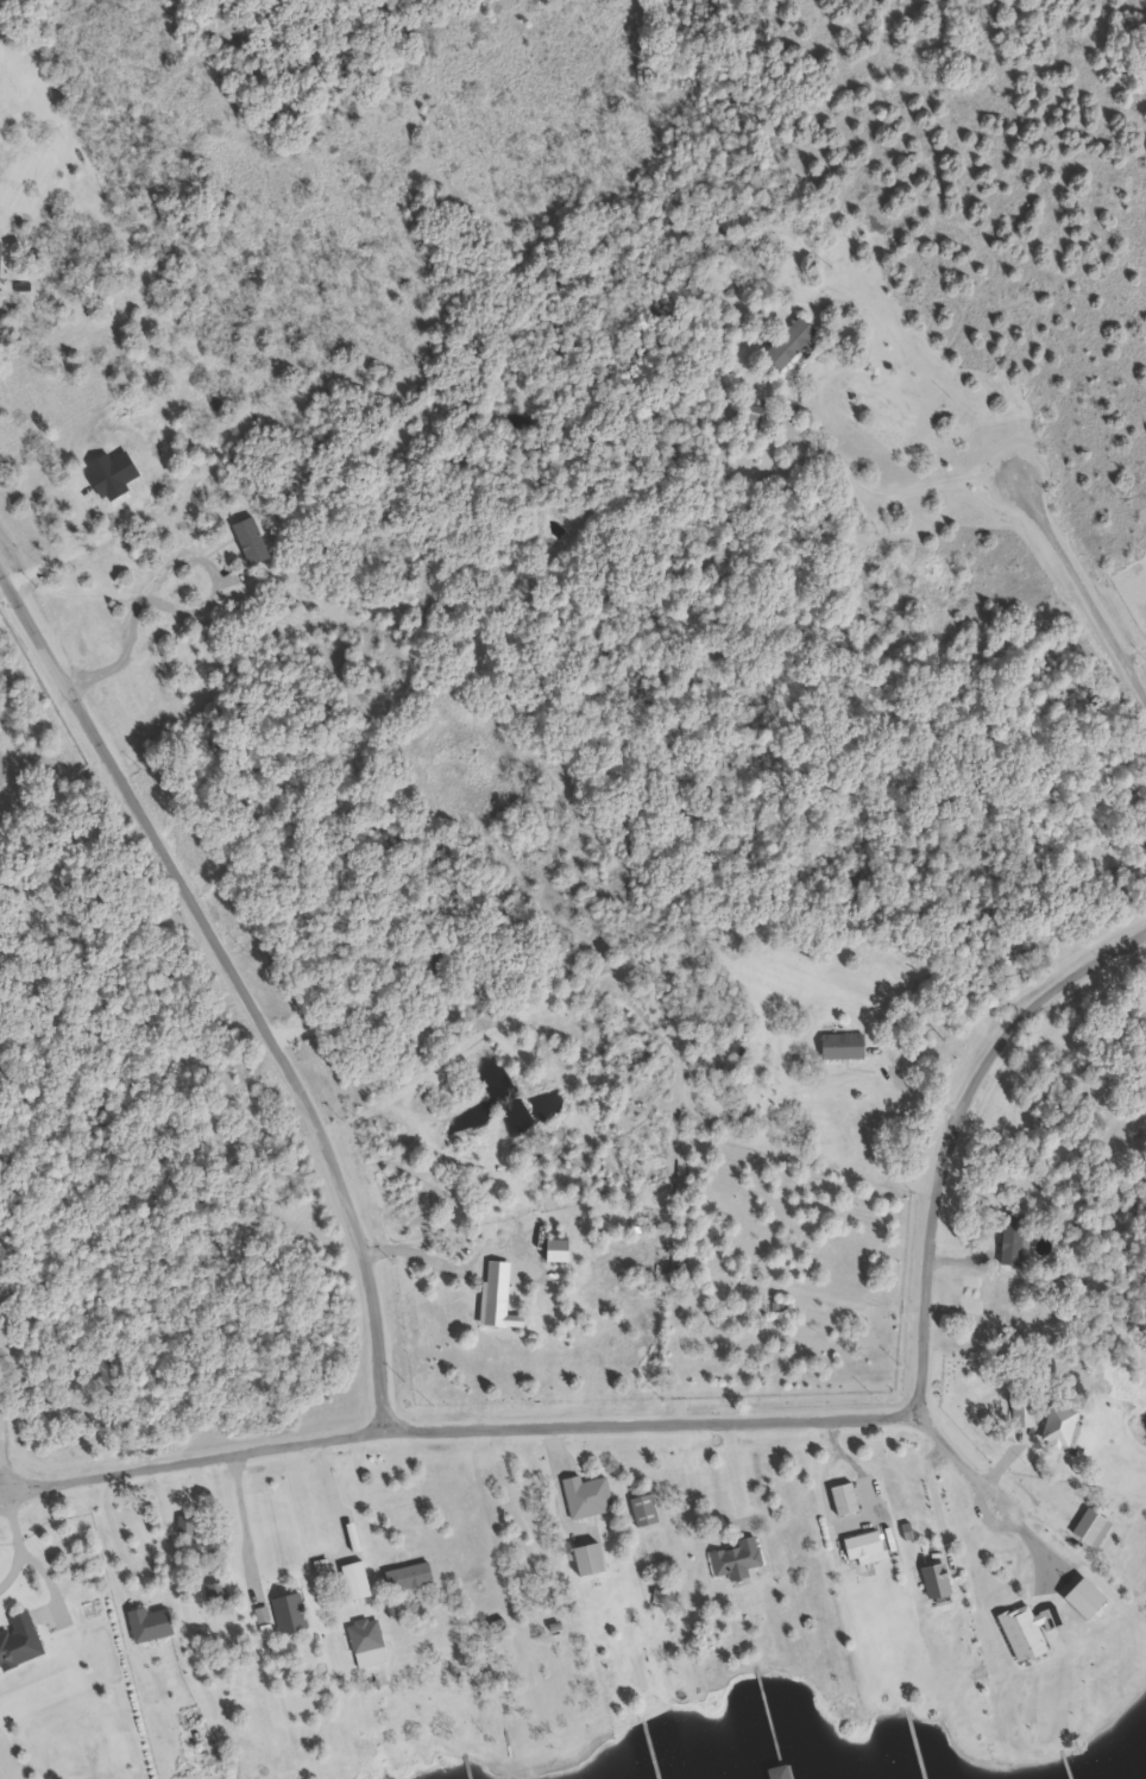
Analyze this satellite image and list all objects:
building: (793, 342)
building: (757, 416)
road: (1081, 589)
road: (238, 984)
building: (845, 1046)
building: (5, 1283)
road: (741, 1420)
building: (588, 1496)
building: (846, 1500)
building: (646, 1510)
building: (865, 1548)
building: (591, 1559)
building: (738, 1559)
building: (411, 1577)
building: (355, 1581)
building: (938, 1582)
building: (667, 1594)
building: (292, 1614)
building: (153, 1625)
building: (369, 1642)
building: (782, 1773)

